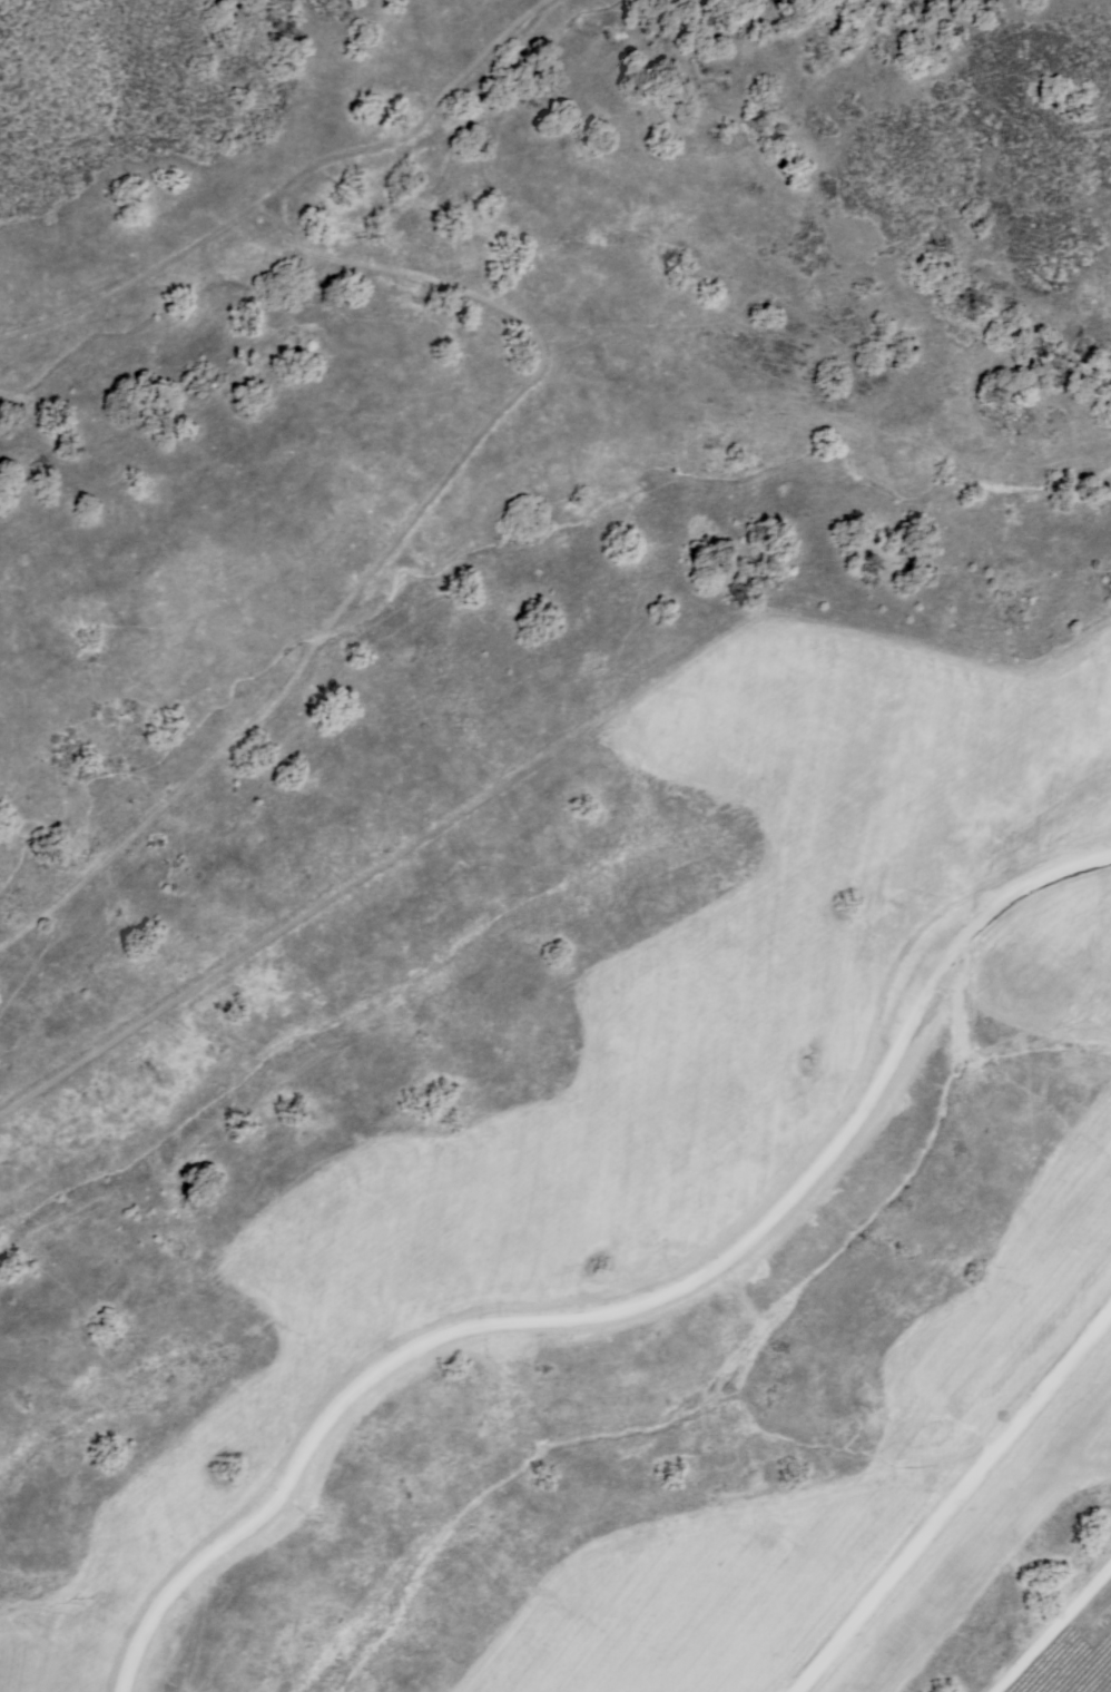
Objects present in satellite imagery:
road: (954, 1501)

